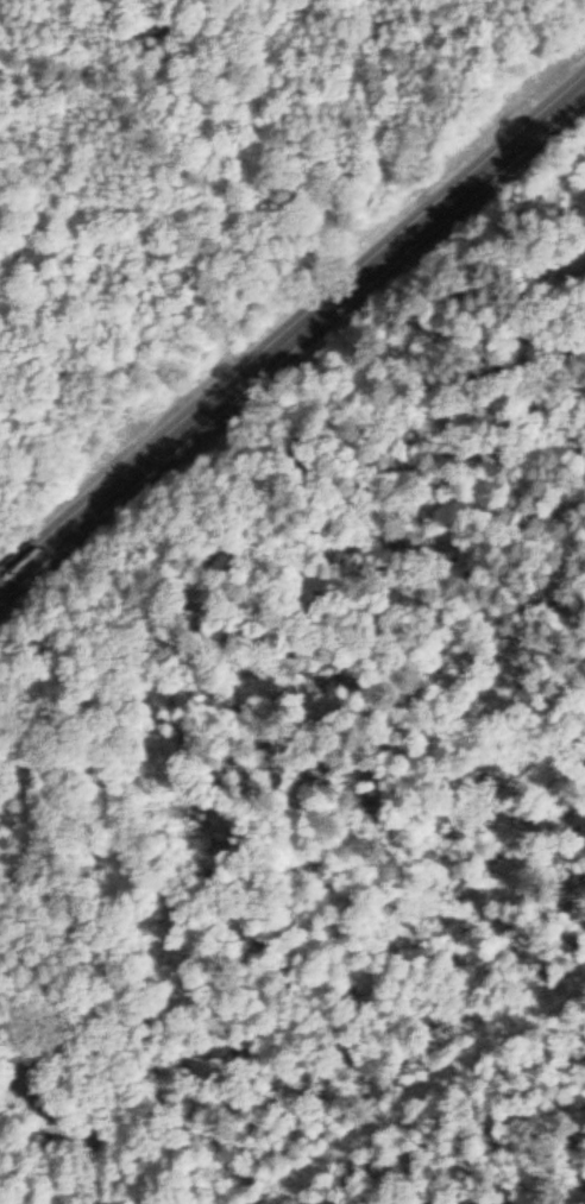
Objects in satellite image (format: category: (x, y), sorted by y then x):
road: (292, 338)

